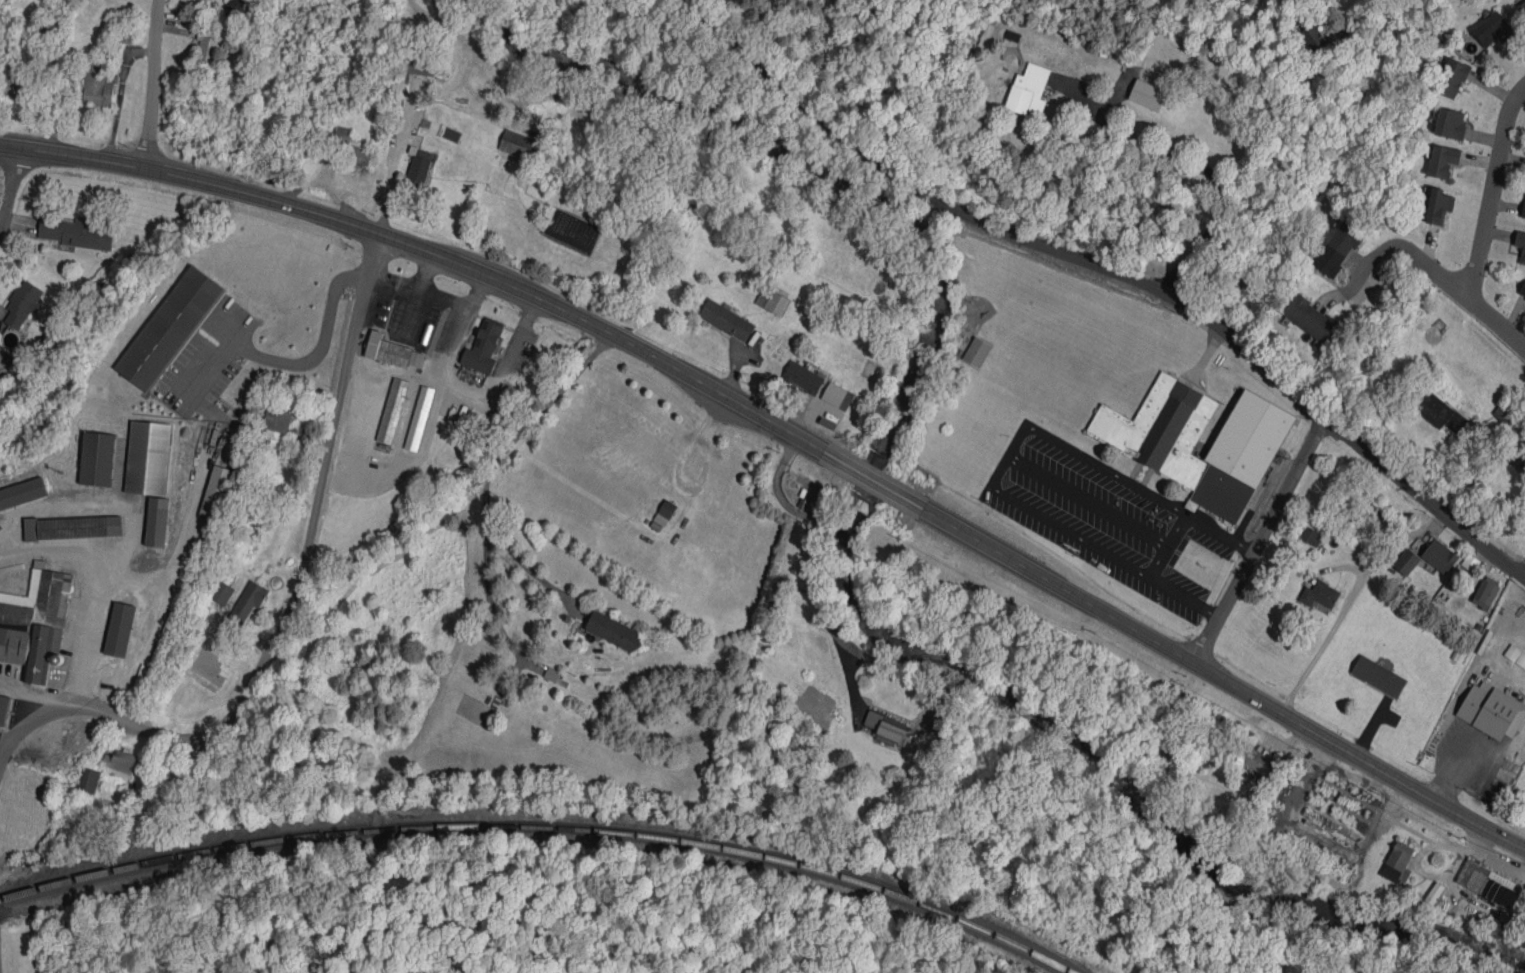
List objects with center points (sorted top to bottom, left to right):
building: (1523, 5)
building: (238, 8)
building: (1493, 28)
building: (1313, 36)
building: (207, 47)
building: (419, 65)
building: (1451, 77)
building: (399, 81)
road: (152, 82)
building: (97, 83)
building: (14, 87)
building: (1028, 89)
building: (1147, 94)
building: (1450, 123)
building: (520, 144)
building: (353, 147)
building: (1442, 160)
road: (1203, 165)
road: (13, 191)
road: (1328, 198)
building: (1438, 205)
building: (1524, 212)
road: (1485, 225)
building: (75, 232)
building: (1520, 243)
building: (1337, 248)
road: (428, 249)
road: (1404, 249)
road: (1115, 276)
road: (421, 288)
building: (1522, 289)
building: (773, 299)
building: (22, 303)
building: (1311, 318)
building: (727, 319)
building: (169, 328)
building: (483, 346)
building: (392, 351)
building: (976, 351)
building: (804, 377)
road: (463, 389)
building: (838, 395)
building: (392, 410)
building: (1438, 411)
building: (278, 417)
building: (419, 417)
building: (1153, 442)
road: (1012, 455)
building: (148, 457)
building: (97, 458)
road: (200, 461)
road: (493, 462)
road: (871, 479)
building: (216, 491)
building: (22, 492)
building: (663, 514)
building: (157, 521)
building: (72, 527)
road: (1220, 532)
building: (1312, 535)
road: (1260, 540)
road: (1168, 544)
road: (52, 549)
building: (1439, 555)
building: (1406, 561)
road: (811, 566)
road: (1519, 567)
road: (1057, 584)
road: (296, 587)
building: (1486, 591)
building: (221, 592)
road: (1186, 594)
building: (1319, 594)
road: (1348, 598)
building: (248, 600)
building: (35, 622)
building: (119, 628)
building: (614, 631)
road: (1503, 669)
building: (551, 673)
building: (1378, 675)
road: (1467, 680)
building: (4, 708)
building: (1492, 710)
road: (34, 719)
building: (886, 728)
road: (1498, 749)
road: (1358, 755)
building: (1255, 761)
building: (120, 762)
road: (1453, 777)
building: (88, 778)
railway: (546, 824)
building: (1398, 862)
building: (1480, 876)
building: (1499, 893)
building: (1433, 894)

